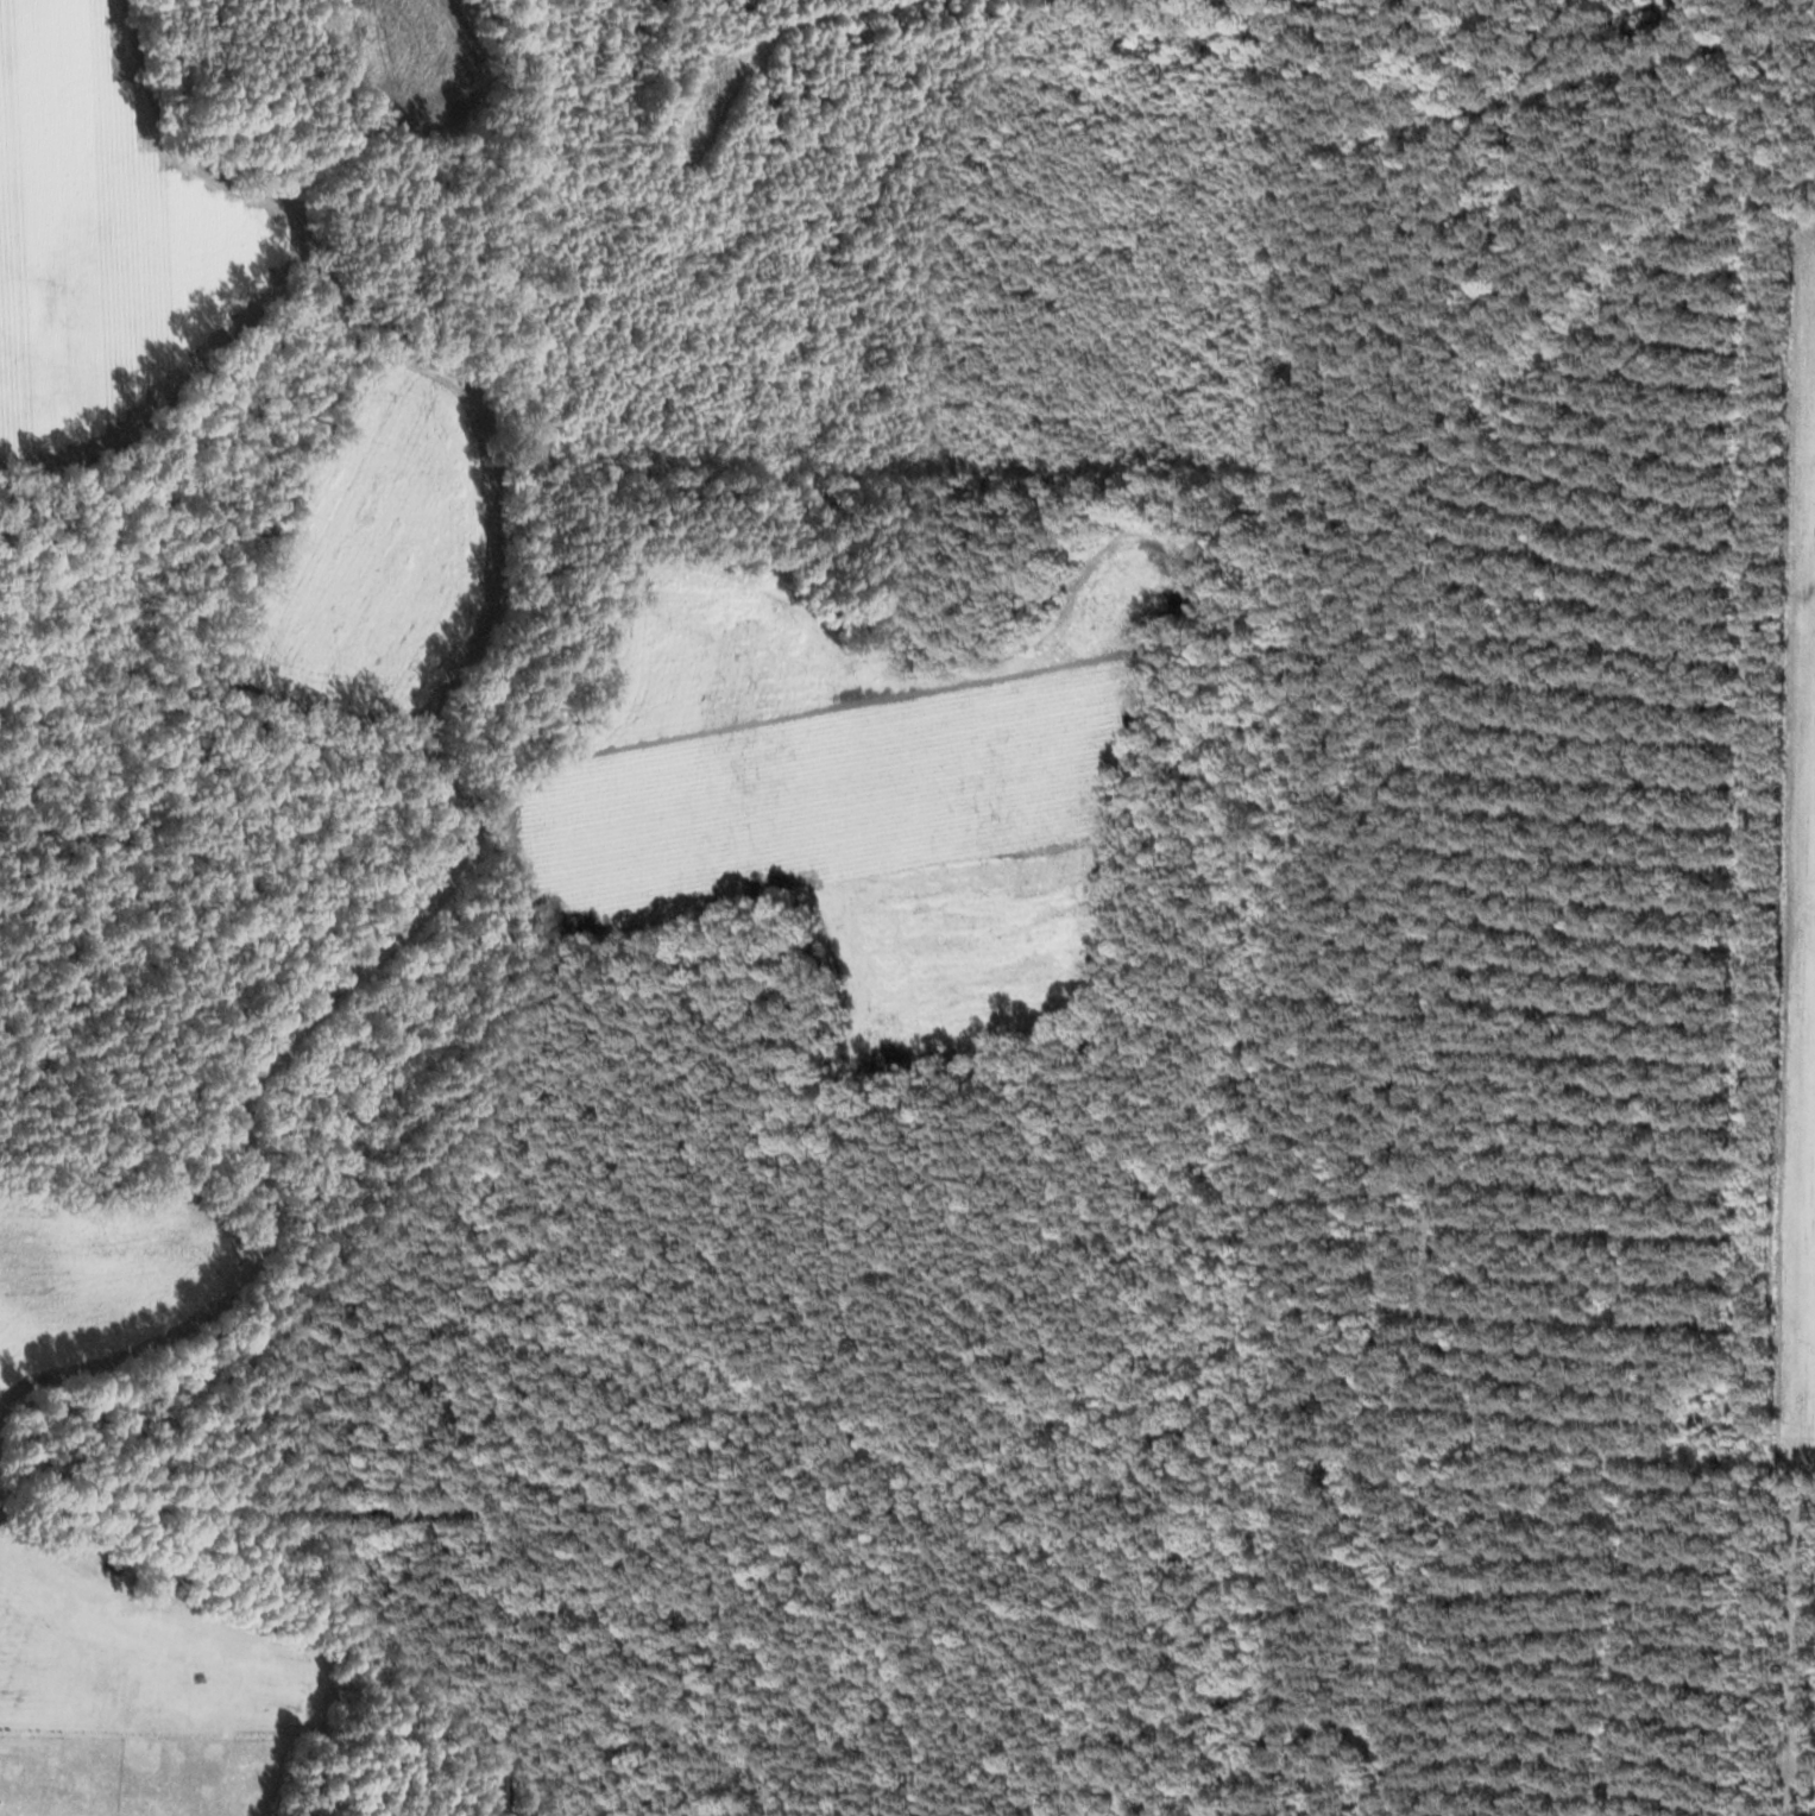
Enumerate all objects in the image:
building: (8, 1810)

